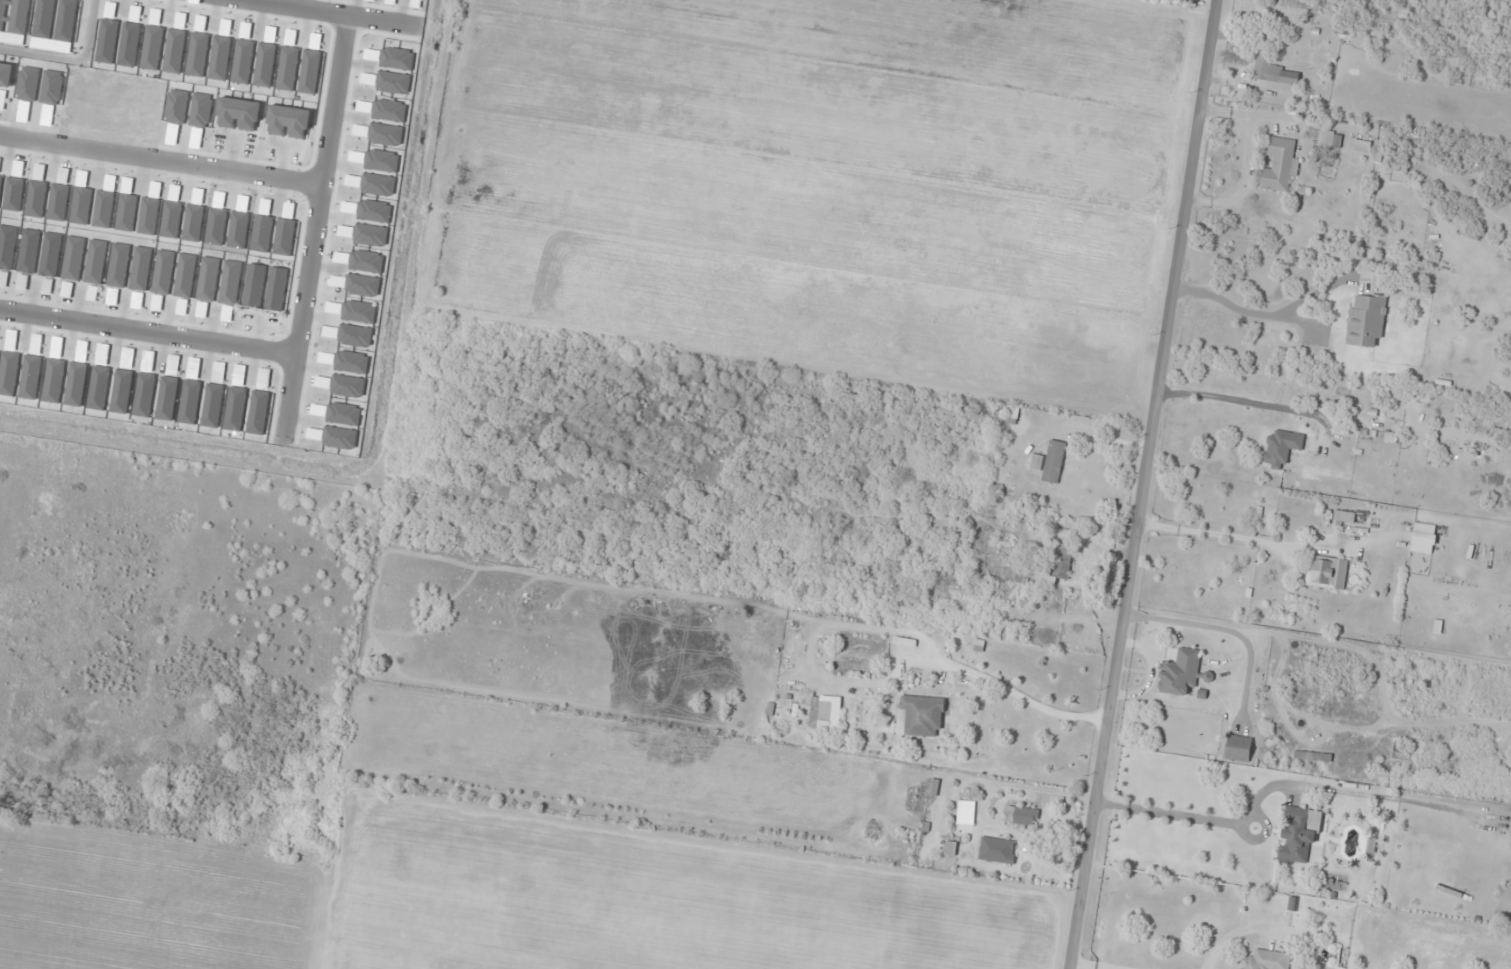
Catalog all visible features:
road: (321, 14)
road: (72, 58)
building: (1273, 72)
building: (1326, 138)
building: (1362, 146)
building: (1381, 152)
road: (160, 159)
building: (1280, 165)
road: (314, 226)
building: (1366, 320)
road: (147, 334)
building: (1281, 447)
building: (1053, 462)
road: (1144, 484)
building: (1344, 516)
building: (1424, 538)
building: (1062, 560)
building: (1016, 573)
building: (1326, 573)
building: (1182, 673)
building: (820, 713)
building: (920, 716)
building: (1238, 748)
building: (1312, 756)
building: (965, 812)
building: (1022, 816)
building: (1298, 833)
building: (997, 850)
building: (1266, 960)

